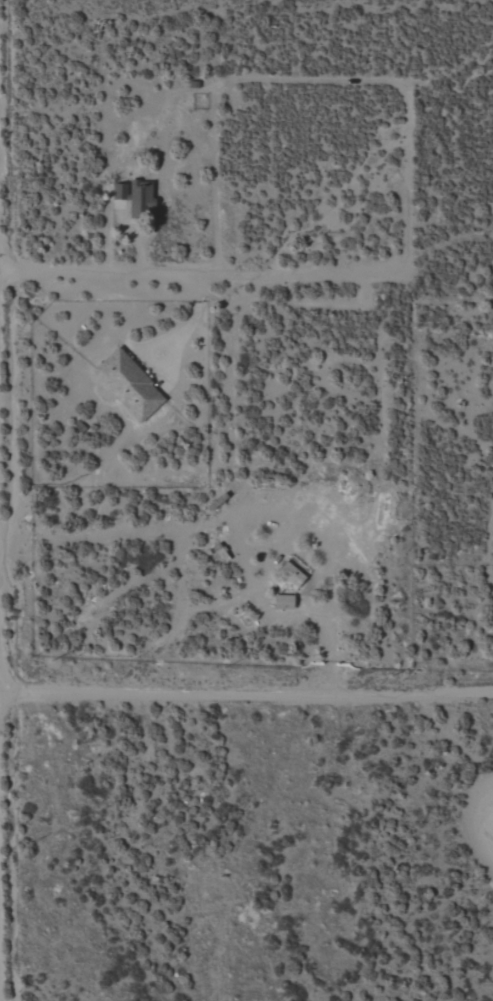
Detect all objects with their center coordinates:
building: (137, 197)
road: (134, 239)
road: (214, 279)
road: (183, 322)
building: (129, 385)
building: (293, 575)
road: (1, 690)
road: (247, 691)
road: (2, 777)

